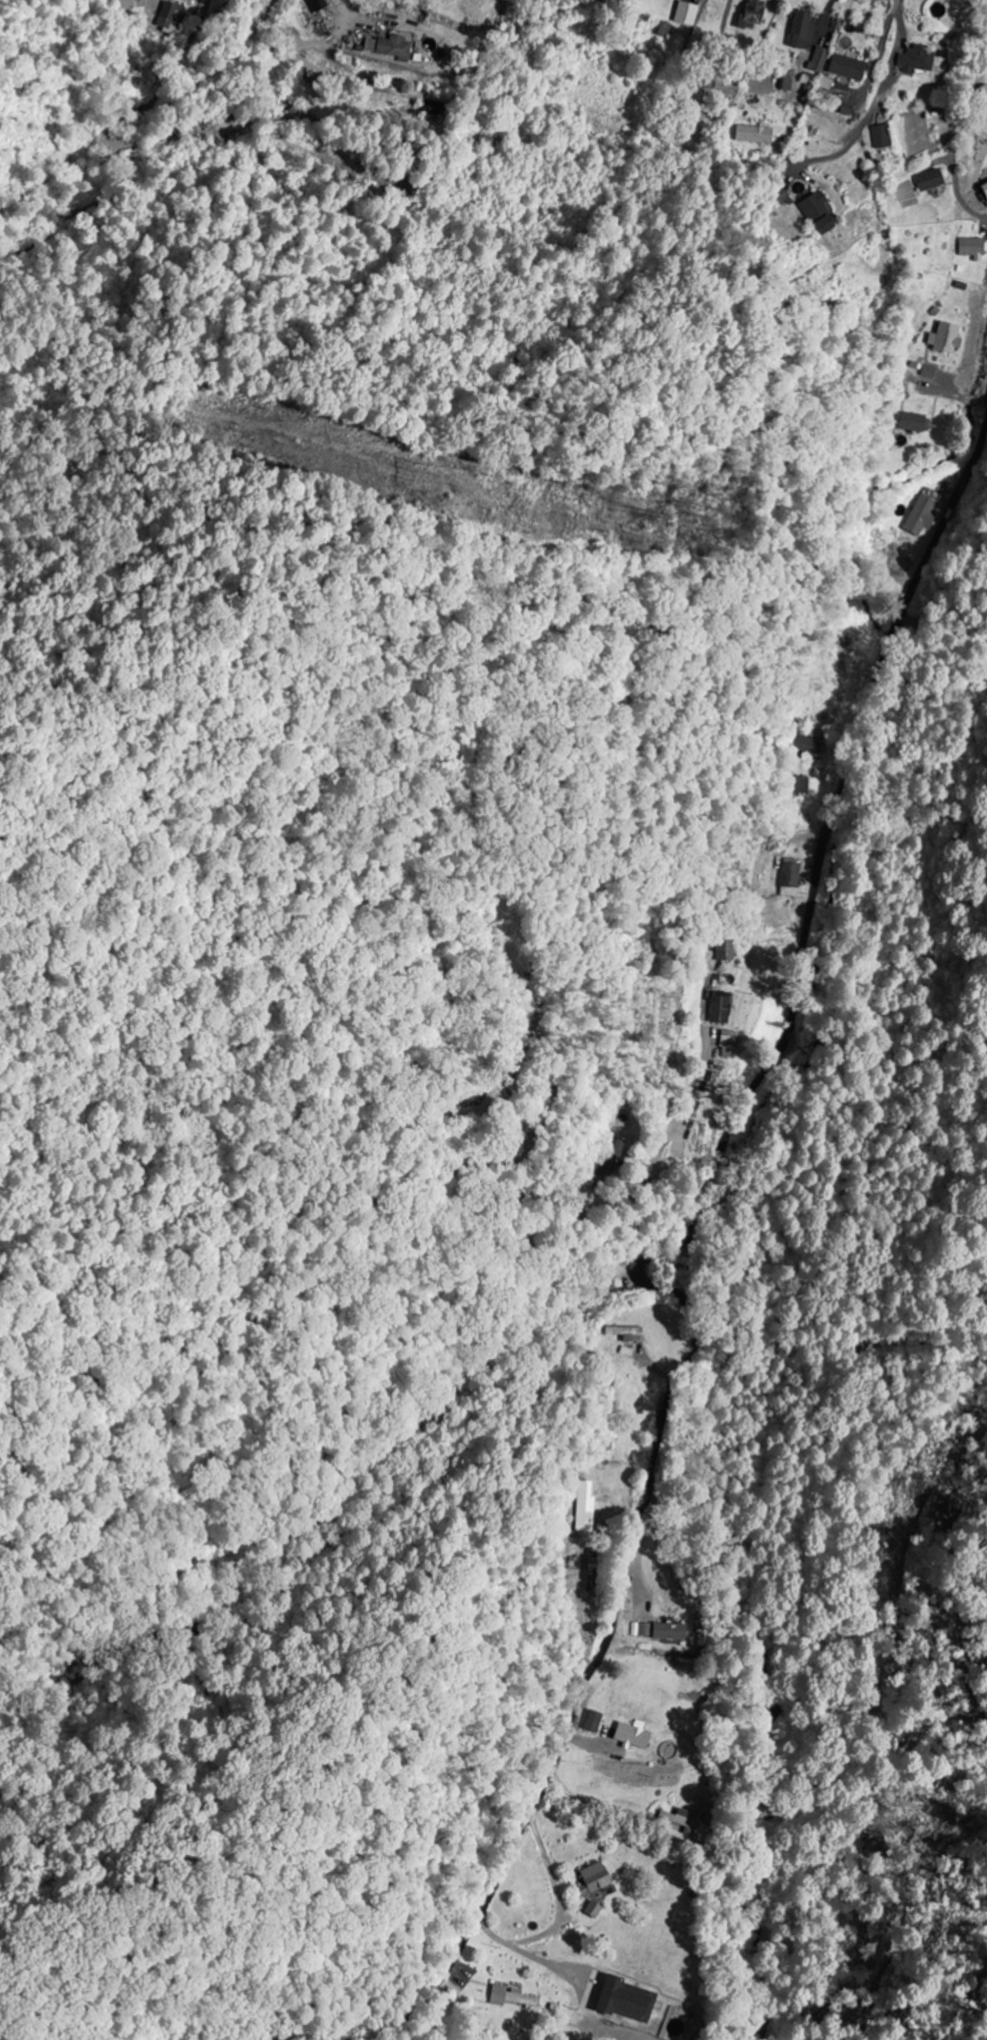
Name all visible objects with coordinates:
building: (316, 5)
building: (686, 13)
building: (751, 14)
building: (170, 16)
building: (800, 29)
building: (393, 47)
building: (818, 59)
building: (916, 59)
building: (846, 67)
building: (785, 85)
road: (865, 100)
building: (846, 109)
building: (981, 127)
building: (753, 134)
building: (882, 136)
building: (487, 142)
building: (929, 180)
building: (984, 190)
road: (970, 211)
building: (819, 214)
building: (973, 248)
building: (943, 338)
building: (928, 371)
road: (966, 400)
building: (914, 423)
building: (921, 516)
building: (806, 745)
building: (800, 785)
building: (790, 877)
building: (726, 947)
building: (721, 1007)
building: (729, 1040)
building: (618, 1148)
road: (659, 1249)
building: (610, 1283)
building: (625, 1333)
building: (585, 1506)
building: (659, 1631)
building: (593, 1721)
building: (633, 1735)
building: (679, 1819)
building: (593, 1878)
building: (592, 1909)
building: (513, 1998)
building: (624, 2000)

